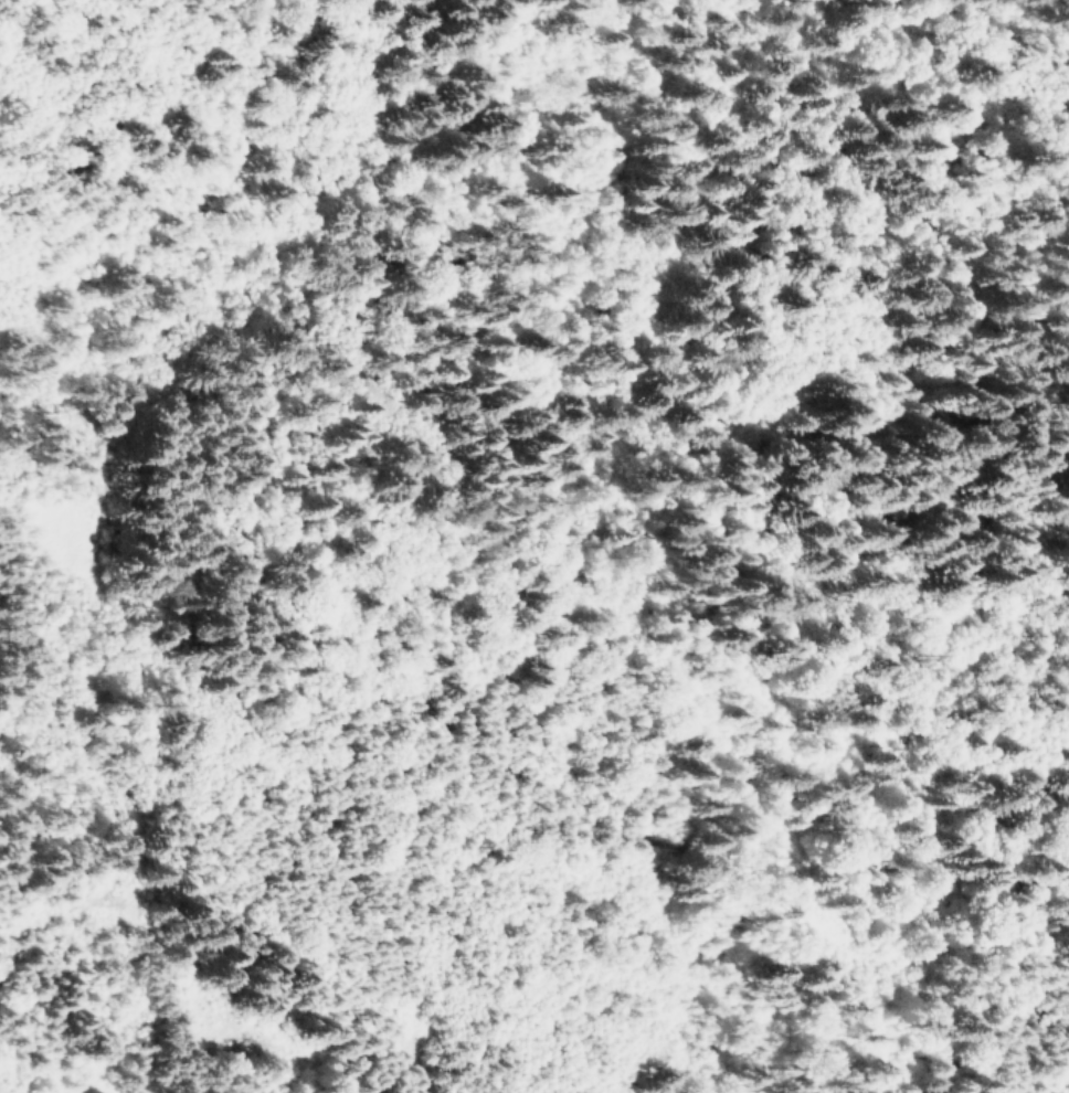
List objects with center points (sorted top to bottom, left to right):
road: (536, 556)
road: (526, 1053)

